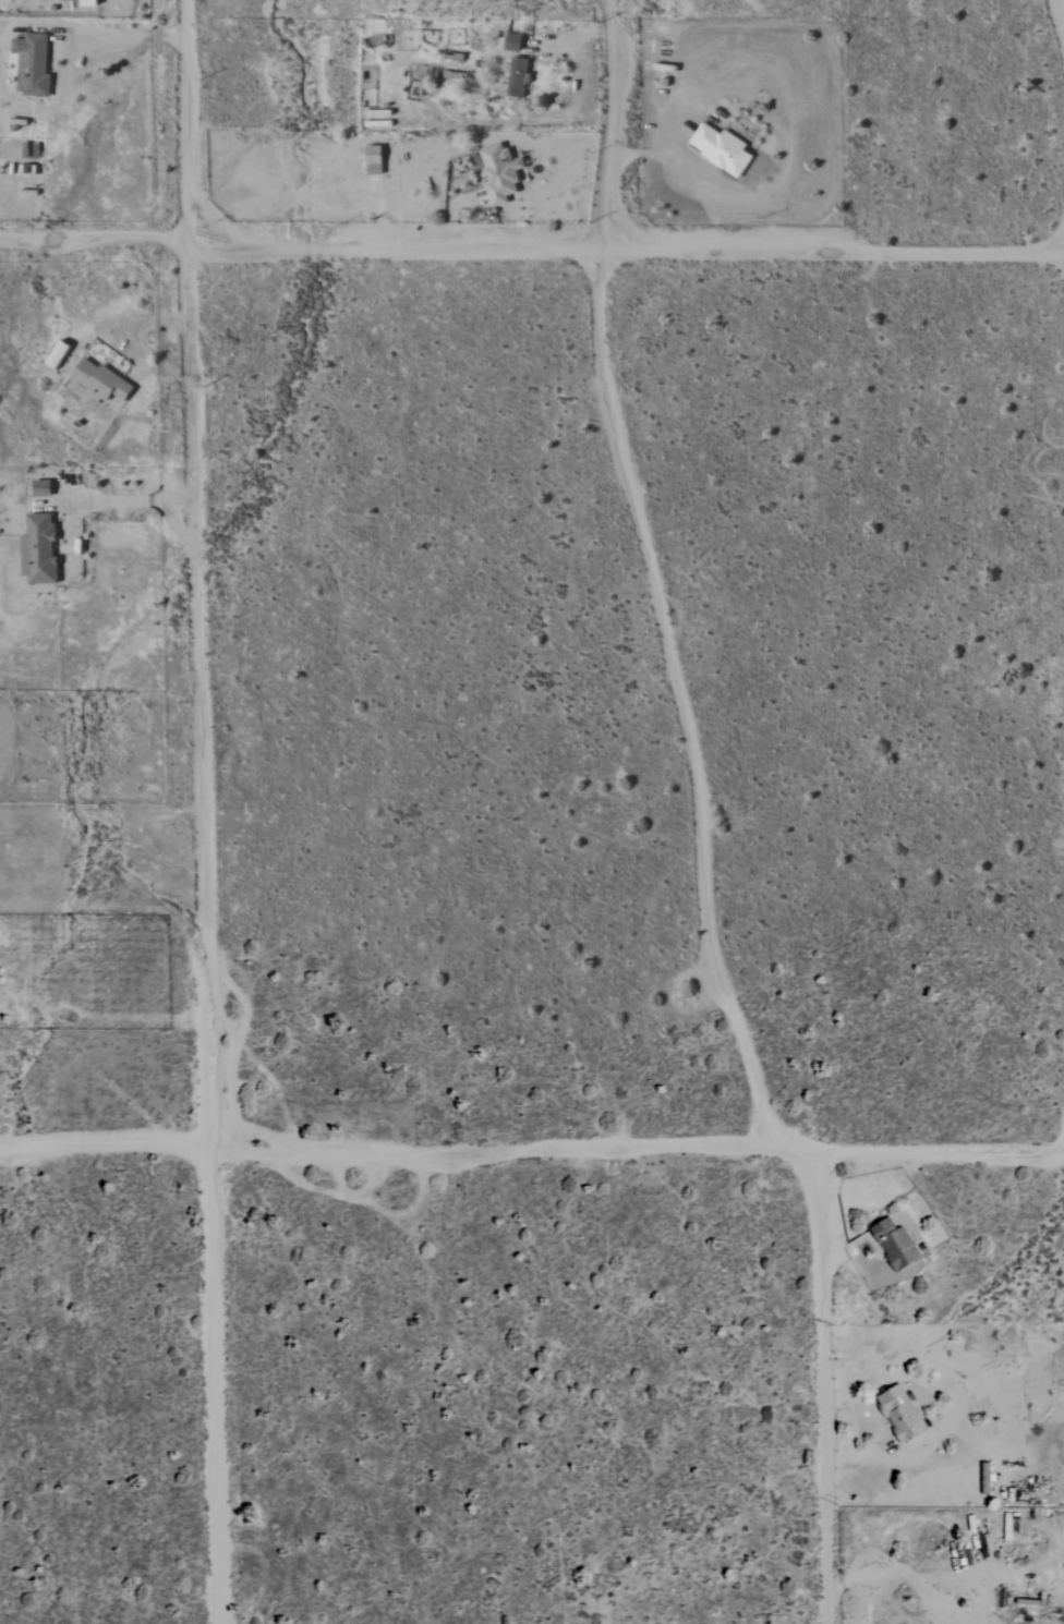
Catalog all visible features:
building: (85, 3)
road: (126, 36)
building: (511, 43)
building: (31, 64)
building: (516, 77)
building: (720, 149)
building: (372, 160)
building: (498, 172)
road: (531, 253)
building: (55, 355)
building: (98, 380)
building: (39, 488)
road: (131, 502)
road: (202, 811)
road: (701, 821)
road: (532, 1150)
building: (894, 1245)
building: (898, 1413)
road: (918, 1575)

